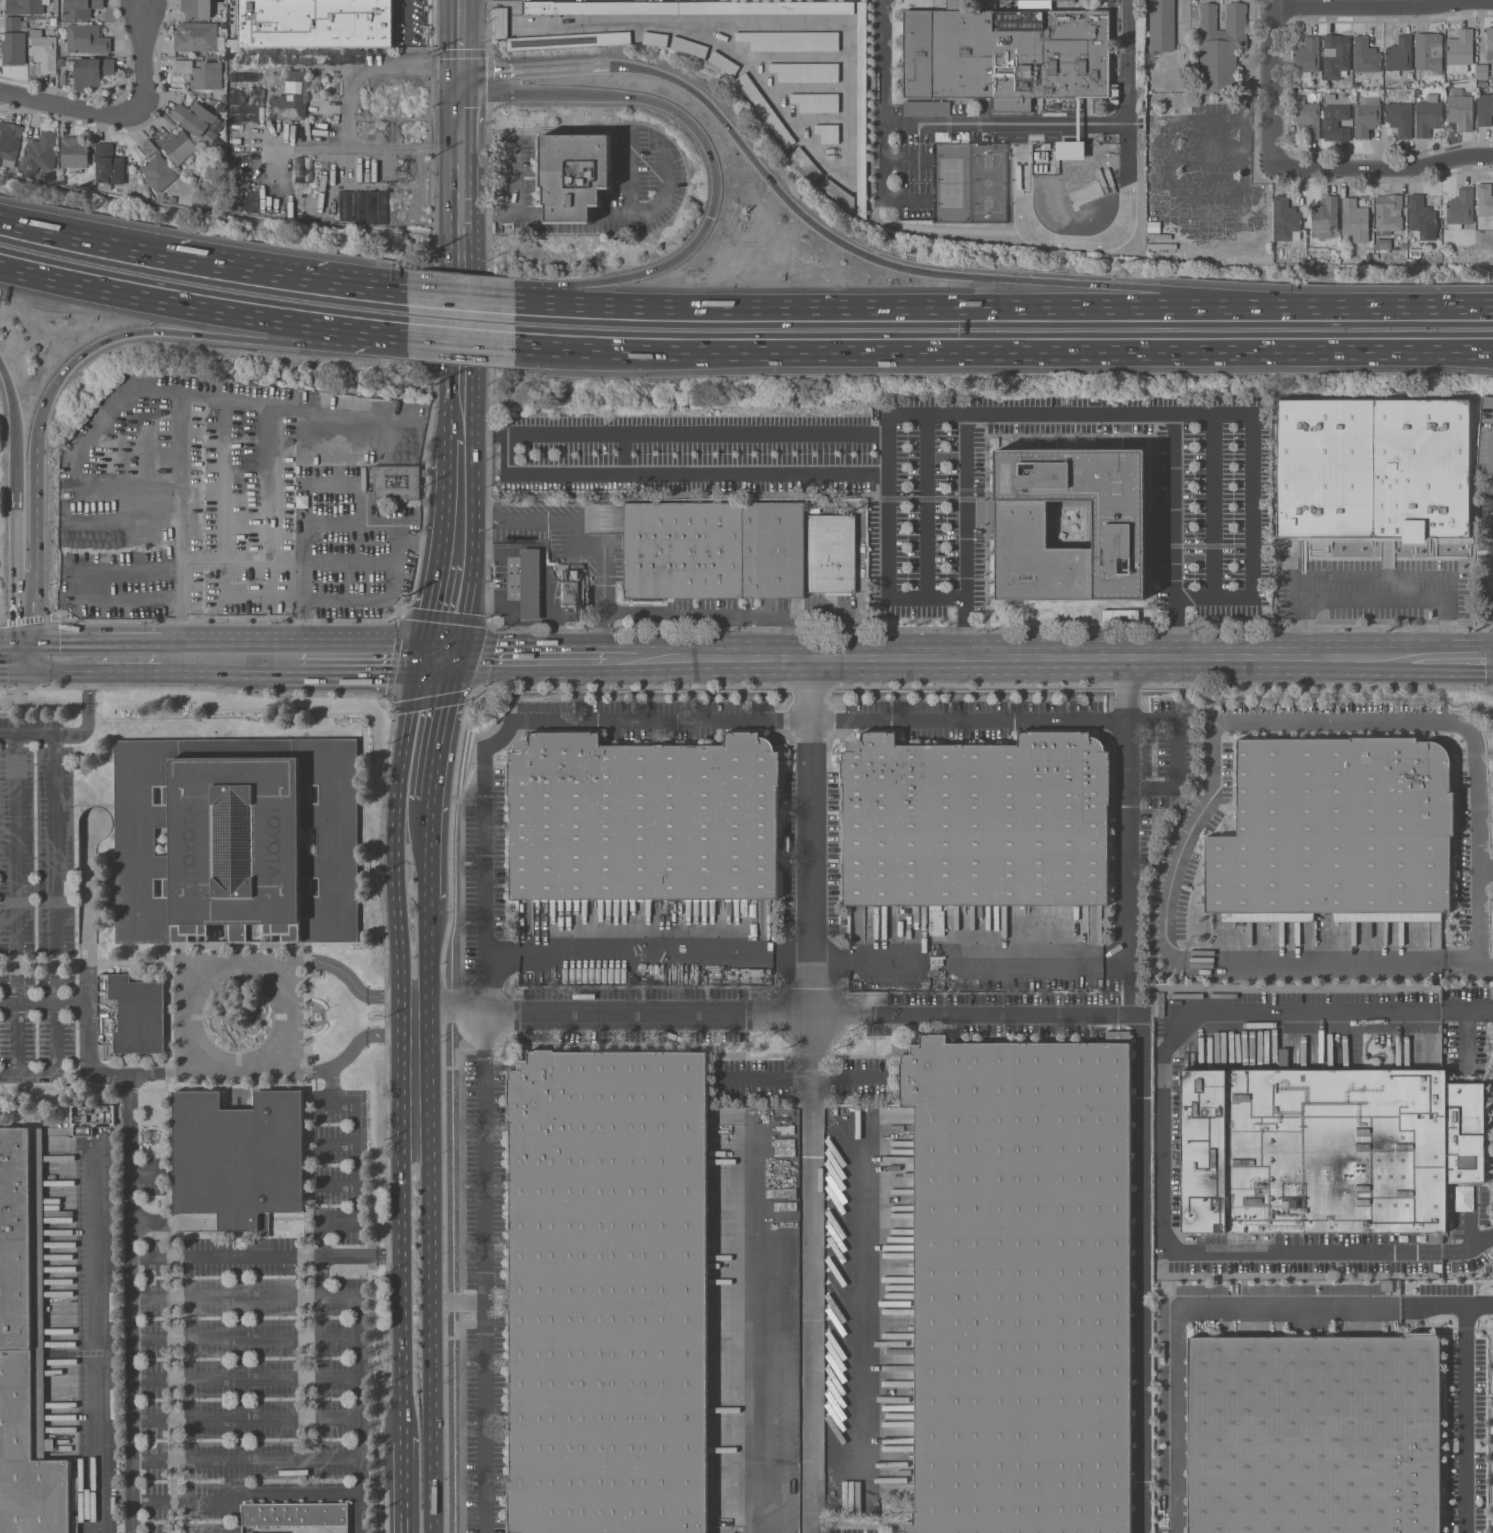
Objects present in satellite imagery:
building: (25, 6)
building: (767, 7)
building: (80, 8)
building: (598, 8)
road: (1385, 8)
building: (196, 9)
road: (405, 18)
building: (501, 22)
building: (13, 23)
building: (316, 23)
building: (1162, 25)
road: (463, 33)
building: (196, 37)
building: (655, 38)
building: (86, 39)
building: (568, 40)
building: (789, 41)
building: (1489, 43)
building: (689, 47)
building: (1220, 47)
building: (13, 48)
building: (43, 50)
building: (1428, 51)
building: (1459, 51)
building: (1007, 55)
road: (143, 56)
building: (1336, 56)
building: (1365, 56)
building: (1399, 56)
building: (1306, 57)
building: (723, 63)
traffic signals: (463, 67)
road: (535, 67)
building: (90, 71)
building: (1482, 71)
building: (805, 72)
building: (201, 74)
building: (1409, 75)
building: (1343, 81)
road: (462, 82)
road: (1277, 83)
building: (1481, 83)
building: (1356, 84)
building: (1409, 84)
building: (1417, 92)
building: (291, 97)
road: (508, 97)
traffic signals: (462, 98)
building: (816, 102)
building: (926, 107)
road: (72, 108)
building: (862, 108)
road: (353, 109)
building: (1460, 109)
building: (1484, 109)
building: (764, 110)
building: (1307, 116)
building: (1366, 116)
building: (1428, 116)
building: (1399, 118)
building: (196, 120)
building: (1335, 122)
road: (1004, 123)
building: (827, 132)
road: (1166, 133)
building: (9, 141)
road: (1260, 142)
building: (178, 146)
building: (1070, 149)
building: (38, 153)
building: (74, 153)
road: (710, 158)
building: (806, 163)
building: (108, 166)
building: (155, 167)
road: (627, 171)
road: (1386, 171)
building: (574, 175)
building: (838, 193)
road: (1207, 193)
road: (786, 197)
building: (1484, 200)
road: (514, 201)
road: (648, 207)
building: (1460, 208)
road: (530, 213)
building: (1388, 214)
road: (569, 217)
traffic signals: (709, 217)
building: (1325, 217)
building: (1422, 217)
building: (1354, 218)
building: (1285, 220)
road: (85, 243)
building: (1383, 244)
building: (1403, 246)
road: (462, 252)
building: (1411, 253)
road: (285, 279)
road: (585, 293)
road: (1145, 293)
road: (167, 299)
road: (460, 299)
road: (539, 305)
road: (1393, 308)
road: (926, 309)
road: (369, 329)
traffic signals: (152, 330)
road: (459, 338)
road: (270, 342)
road: (90, 346)
road: (1004, 348)
road: (10, 399)
road: (927, 417)
road: (1214, 419)
road: (462, 434)
road: (674, 435)
building: (1485, 438)
road: (887, 446)
road: (1252, 466)
building: (1326, 468)
building: (1422, 468)
road: (680, 470)
road: (186, 471)
building: (399, 481)
road: (459, 505)
building: (814, 510)
road: (317, 524)
building: (1018, 525)
road: (1175, 537)
road: (13, 543)
road: (577, 543)
road: (35, 548)
parking lot: (347, 550)
building: (738, 551)
building: (1387, 555)
building: (574, 571)
building: (527, 582)
gas station: (526, 583)
building: (570, 593)
road: (1373, 594)
road: (947, 596)
road: (1194, 598)
road: (179, 600)
road: (450, 602)
road: (375, 603)
road: (719, 614)
building: (1120, 616)
road: (6, 654)
traffic signals: (13, 654)
road: (23, 654)
road: (63, 654)
road: (267, 654)
traffic signals: (34, 655)
traffic signals: (442, 655)
road: (522, 656)
road: (924, 659)
road: (1469, 661)
road: (1328, 662)
road: (1429, 662)
road: (1491, 689)
road: (1128, 690)
road: (464, 696)
road: (87, 707)
road: (427, 710)
road: (1327, 718)
road: (794, 720)
road: (27, 736)
road: (1178, 753)
road: (1129, 813)
building: (1338, 828)
building: (236, 838)
building: (979, 839)
building: (647, 840)
road: (427, 848)
road: (55, 870)
road: (13, 904)
road: (1166, 915)
road: (1481, 918)
building: (769, 947)
road: (1323, 961)
road: (87, 967)
road: (364, 993)
road: (43, 1005)
building: (130, 1014)
road: (455, 1014)
road: (290, 1015)
road: (995, 1016)
road: (182, 1017)
road: (365, 1037)
road: (57, 1066)
road: (800, 1078)
road: (401, 1082)
road: (333, 1095)
road: (812, 1108)
road: (1164, 1139)
road: (124, 1141)
road: (337, 1143)
building: (1326, 1152)
building: (239, 1157)
road: (337, 1185)
road: (355, 1196)
road: (430, 1232)
road: (266, 1255)
road: (1140, 1269)
road: (483, 1273)
road: (322, 1276)
building: (1386, 1285)
building: (1010, 1287)
building: (610, 1294)
road: (244, 1297)
road: (457, 1301)
road: (1433, 1307)
road: (1179, 1311)
road: (89, 1337)
road: (245, 1339)
road: (762, 1341)
building: (25, 1347)
road: (131, 1365)
road: (245, 1380)
road: (1467, 1406)
road: (359, 1414)
road: (244, 1420)
building: (1318, 1434)
road: (245, 1461)
road: (403, 1467)
road: (282, 1493)
road: (186, 1502)
building: (294, 1514)

